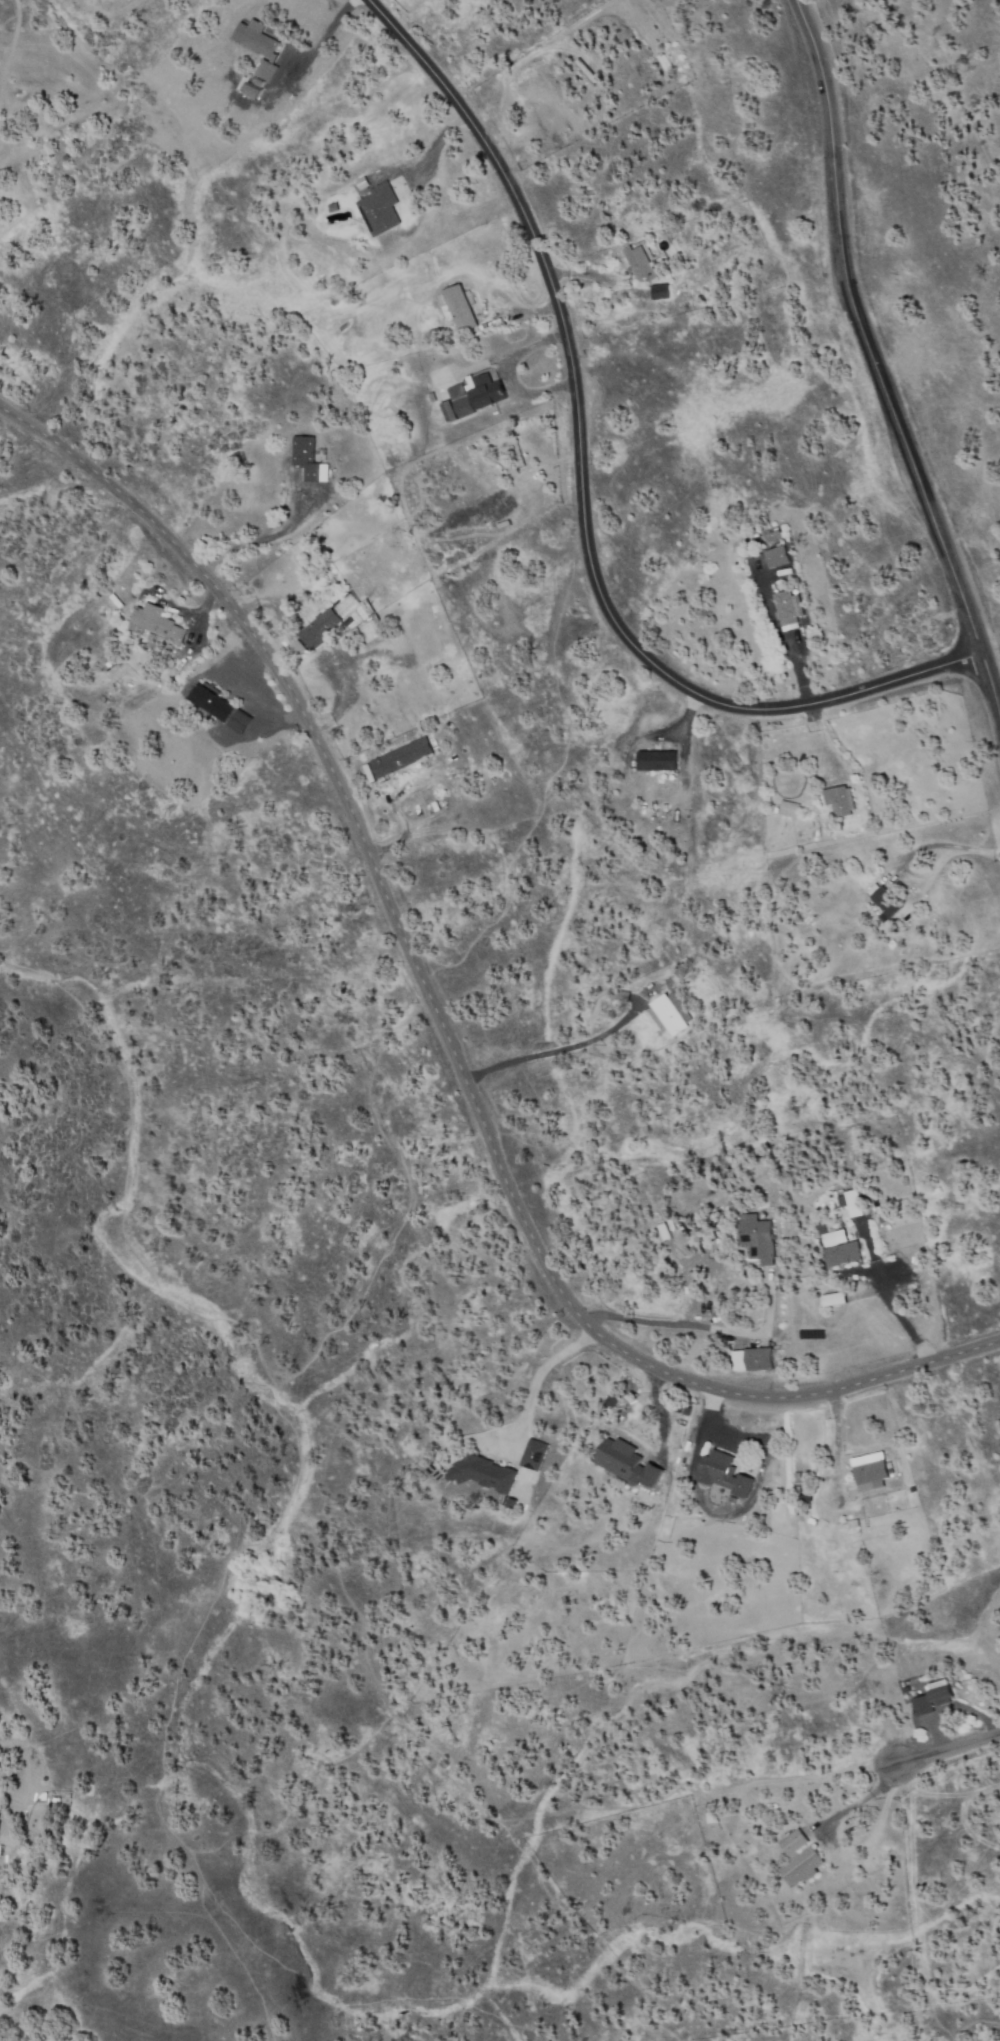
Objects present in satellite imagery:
building: (259, 46)
building: (260, 83)
building: (250, 90)
building: (380, 209)
building: (640, 264)
building: (686, 265)
building: (660, 292)
building: (461, 308)
road: (874, 375)
building: (487, 391)
building: (461, 401)
building: (450, 411)
building: (309, 459)
road: (580, 485)
building: (774, 536)
building: (777, 557)
building: (788, 607)
building: (348, 621)
building: (157, 624)
building: (320, 628)
building: (297, 649)
building: (104, 663)
building: (212, 703)
building: (240, 722)
building: (402, 757)
building: (657, 761)
building: (368, 774)
building: (840, 799)
building: (435, 806)
building: (789, 808)
building: (825, 829)
building: (884, 902)
building: (682, 971)
building: (622, 996)
building: (671, 1012)
road: (438, 1025)
building: (904, 1180)
building: (936, 1192)
building: (842, 1201)
building: (855, 1204)
building: (671, 1224)
building: (821, 1225)
building: (883, 1225)
building: (687, 1226)
building: (663, 1231)
building: (835, 1238)
building: (758, 1239)
building: (843, 1254)
building: (831, 1298)
building: (751, 1360)
building: (611, 1400)
building: (685, 1410)
building: (533, 1455)
building: (623, 1461)
building: (484, 1473)
building: (723, 1473)
building: (870, 1475)
building: (941, 1693)
building: (923, 1706)
road: (946, 1749)
building: (712, 1813)
building: (800, 1860)

